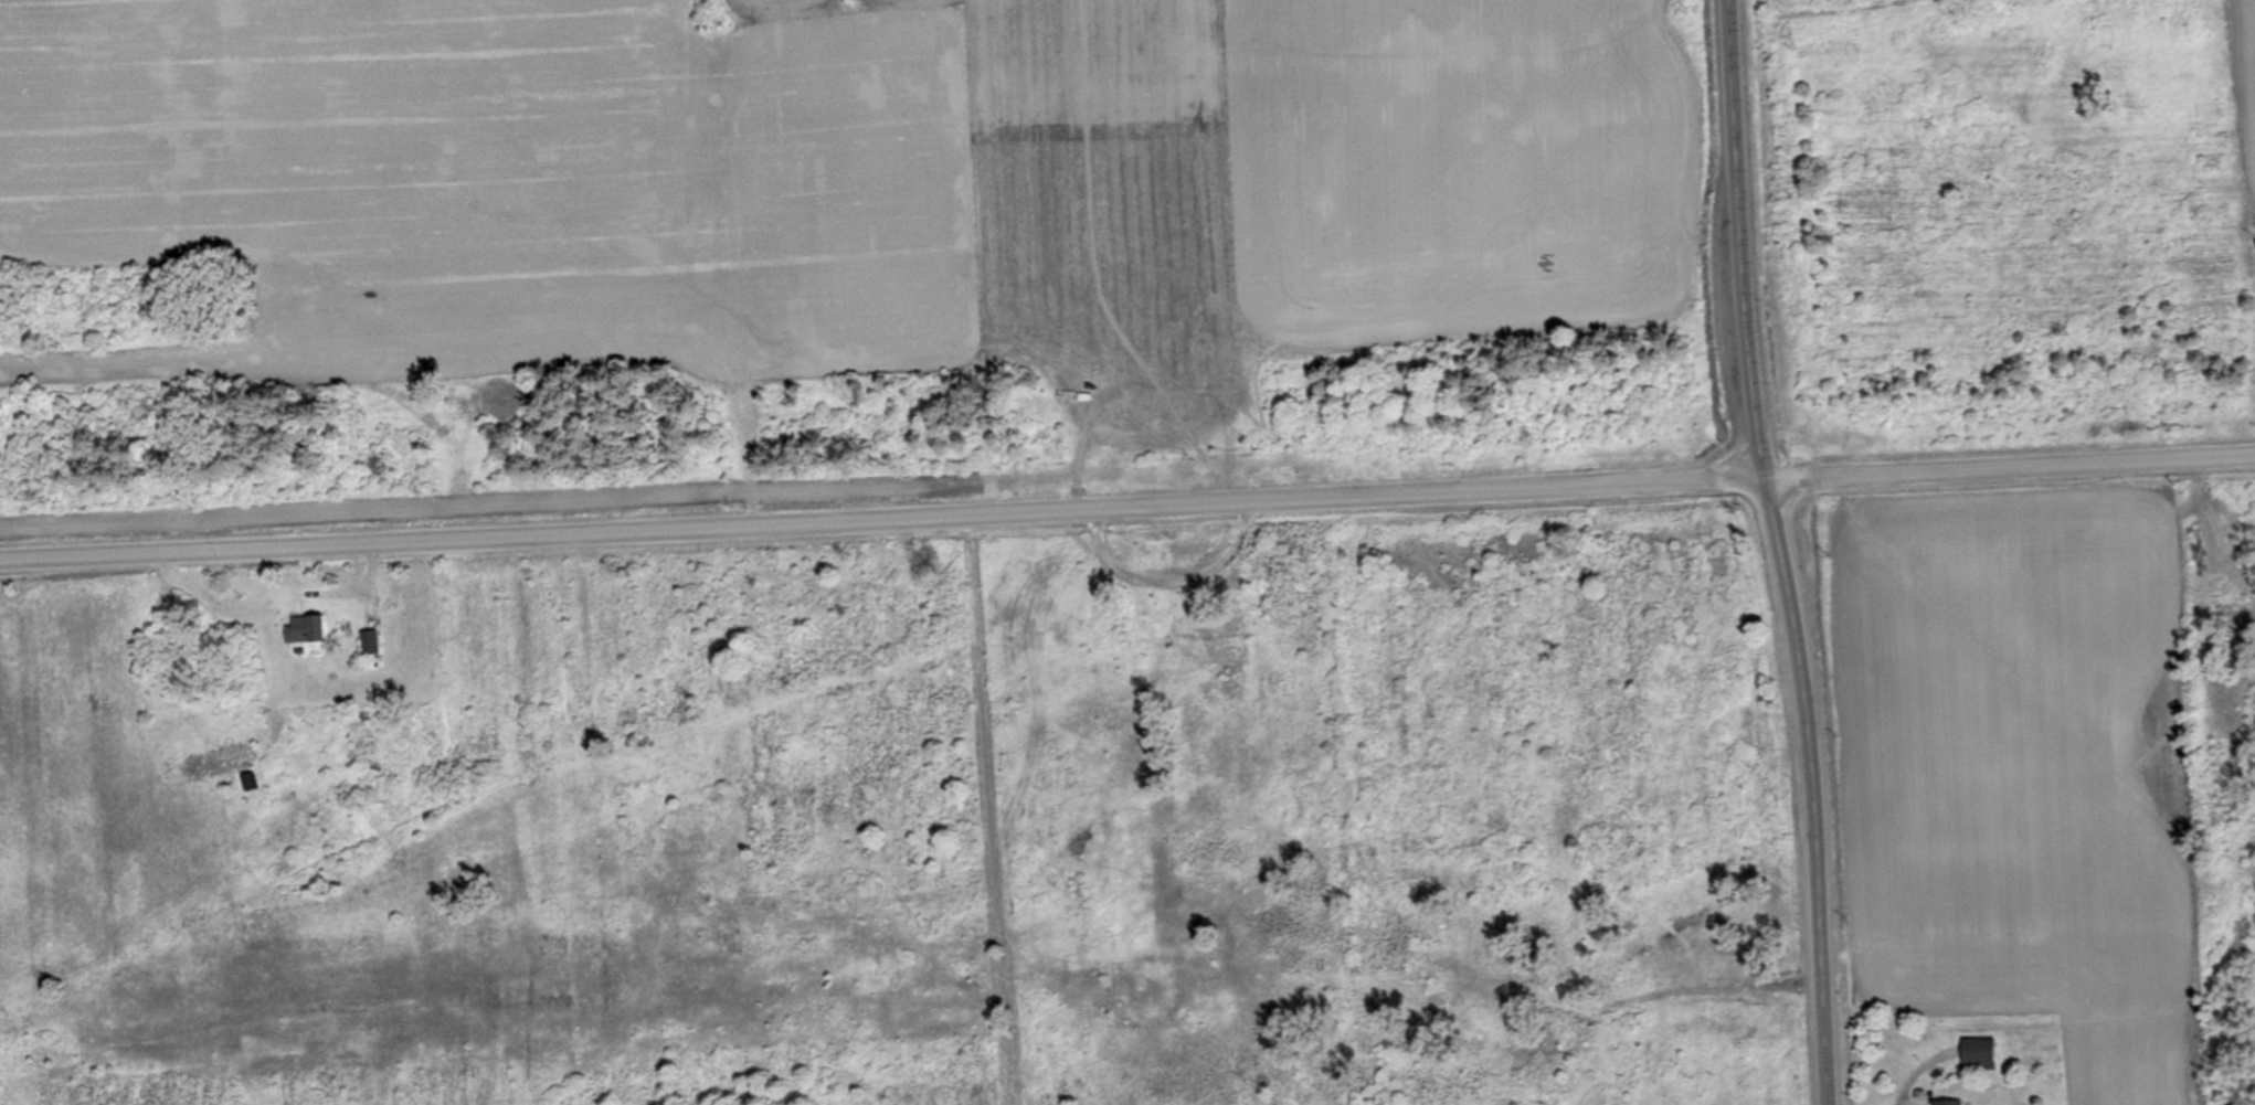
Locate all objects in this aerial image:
road: (1857, 19)
road: (1127, 508)
road: (1780, 552)
building: (307, 628)
building: (369, 641)
building: (1978, 1054)
building: (1947, 1102)

